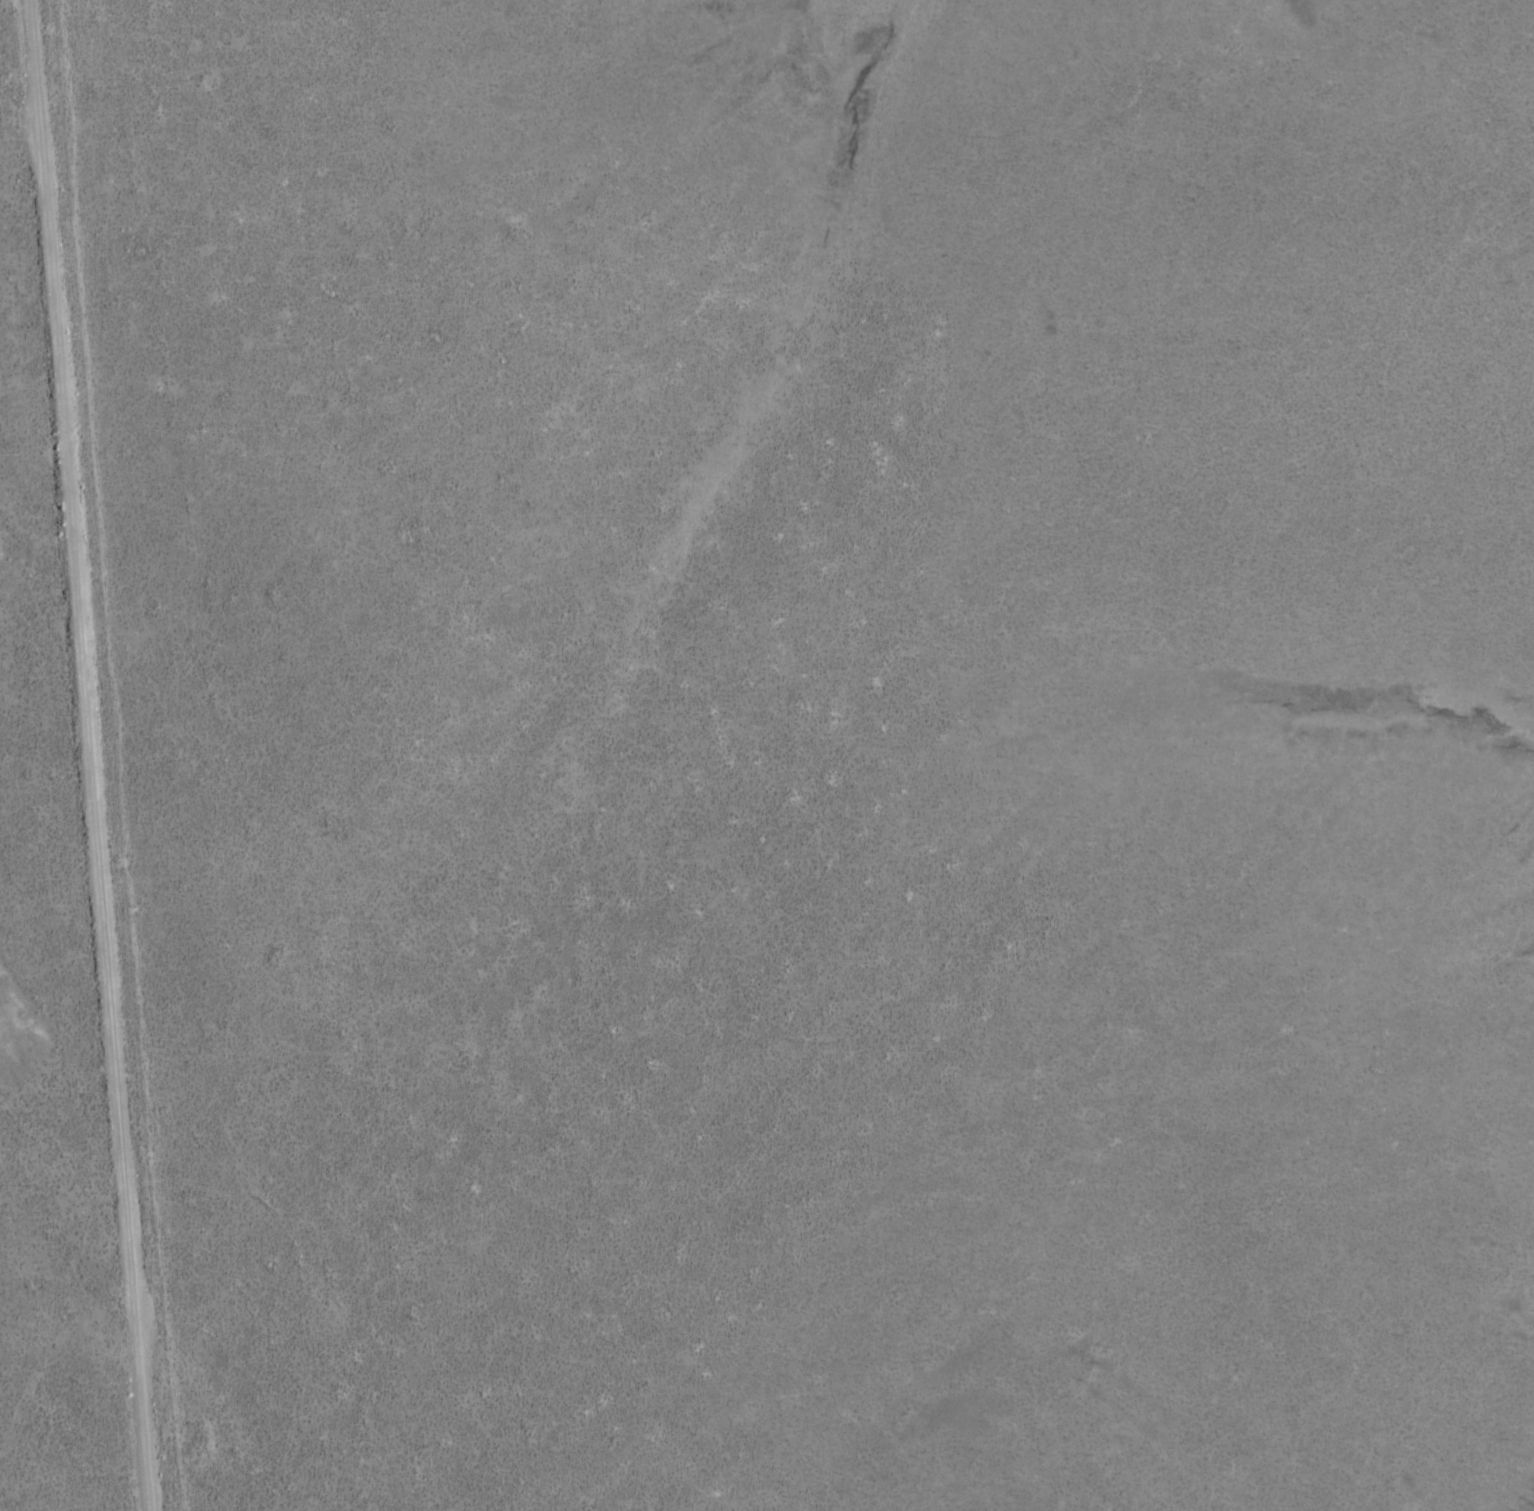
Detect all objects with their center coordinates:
road: (88, 755)

